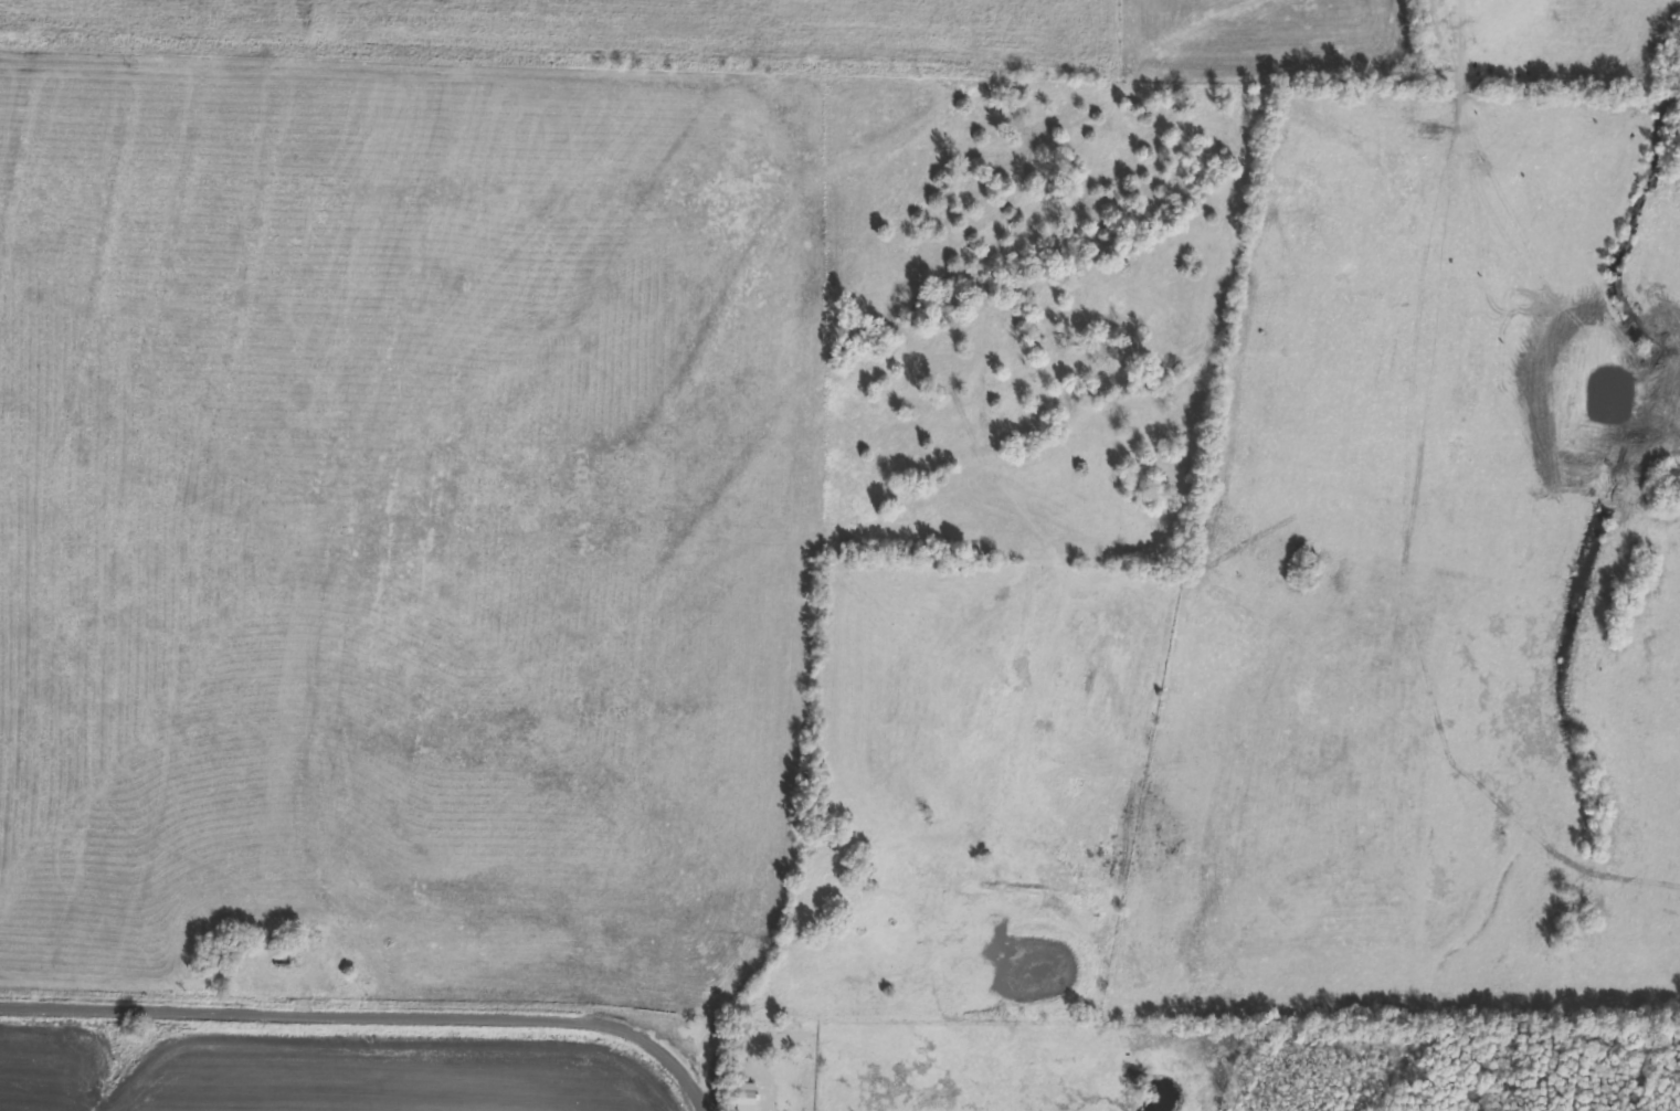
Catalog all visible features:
building: (285, 960)
road: (368, 1023)

